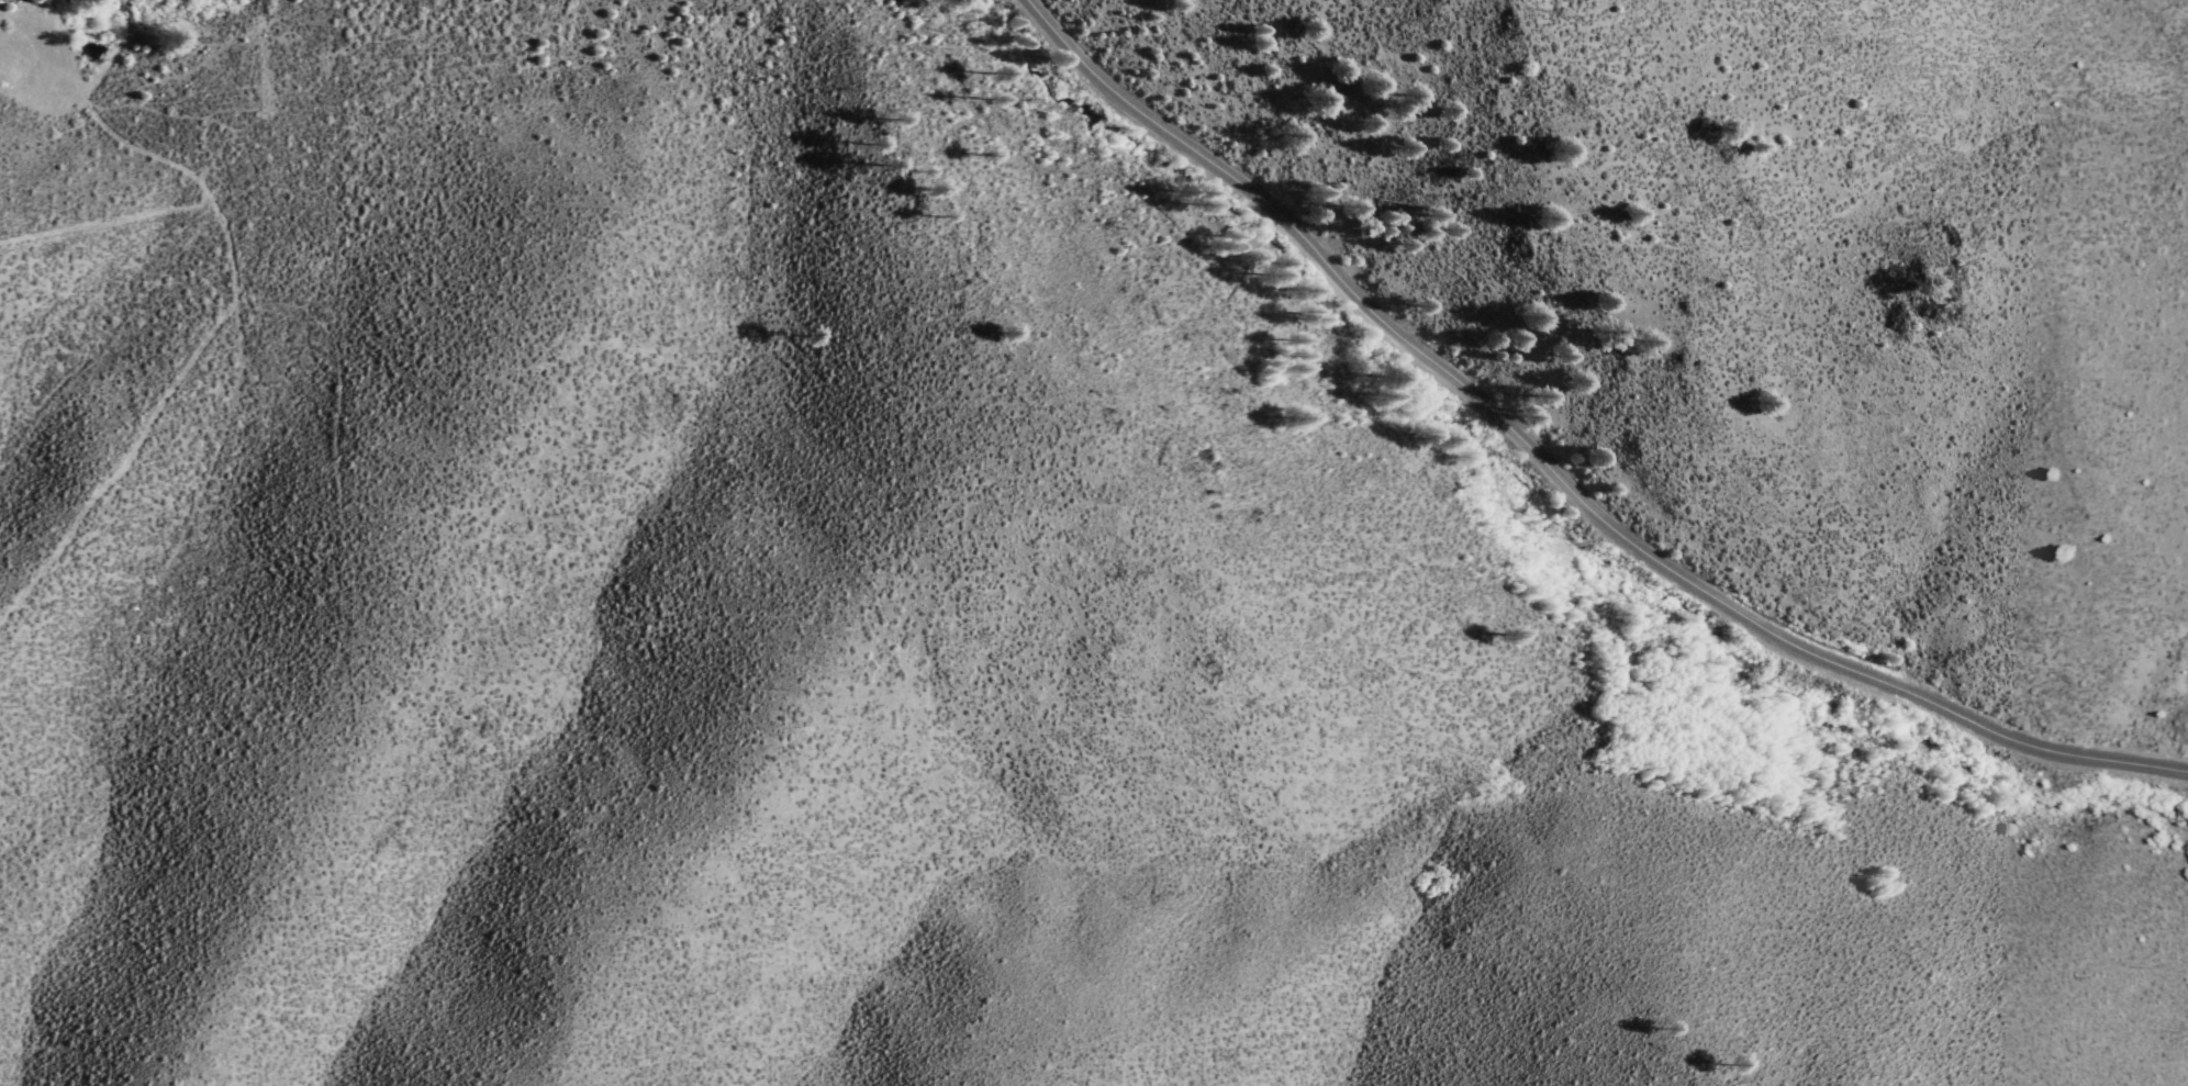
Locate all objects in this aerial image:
road: (215, 298)
road: (1553, 474)

